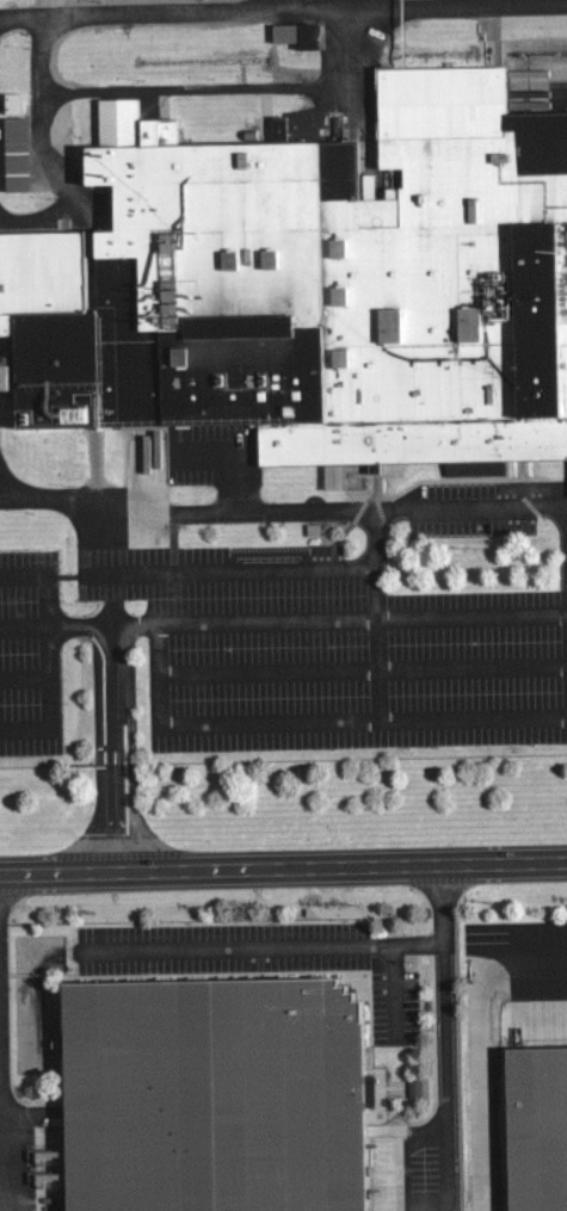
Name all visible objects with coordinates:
road: (438, 4)
road: (220, 10)
building: (292, 33)
road: (164, 88)
building: (12, 141)
road: (57, 177)
building: (318, 288)
road: (67, 502)
road: (562, 506)
road: (460, 509)
road: (259, 511)
road: (168, 513)
road: (343, 568)
road: (318, 619)
road: (24, 625)
road: (81, 625)
road: (48, 654)
road: (363, 671)
road: (110, 675)
road: (24, 680)
road: (288, 724)
road: (115, 790)
road: (283, 867)
road: (442, 931)
road: (236, 949)
road: (520, 965)
road: (394, 994)
road: (444, 1033)
building: (207, 1095)
road: (480, 1095)
building: (532, 1129)
road: (427, 1132)
road: (446, 1166)
road: (401, 1175)
road: (0, 1199)

